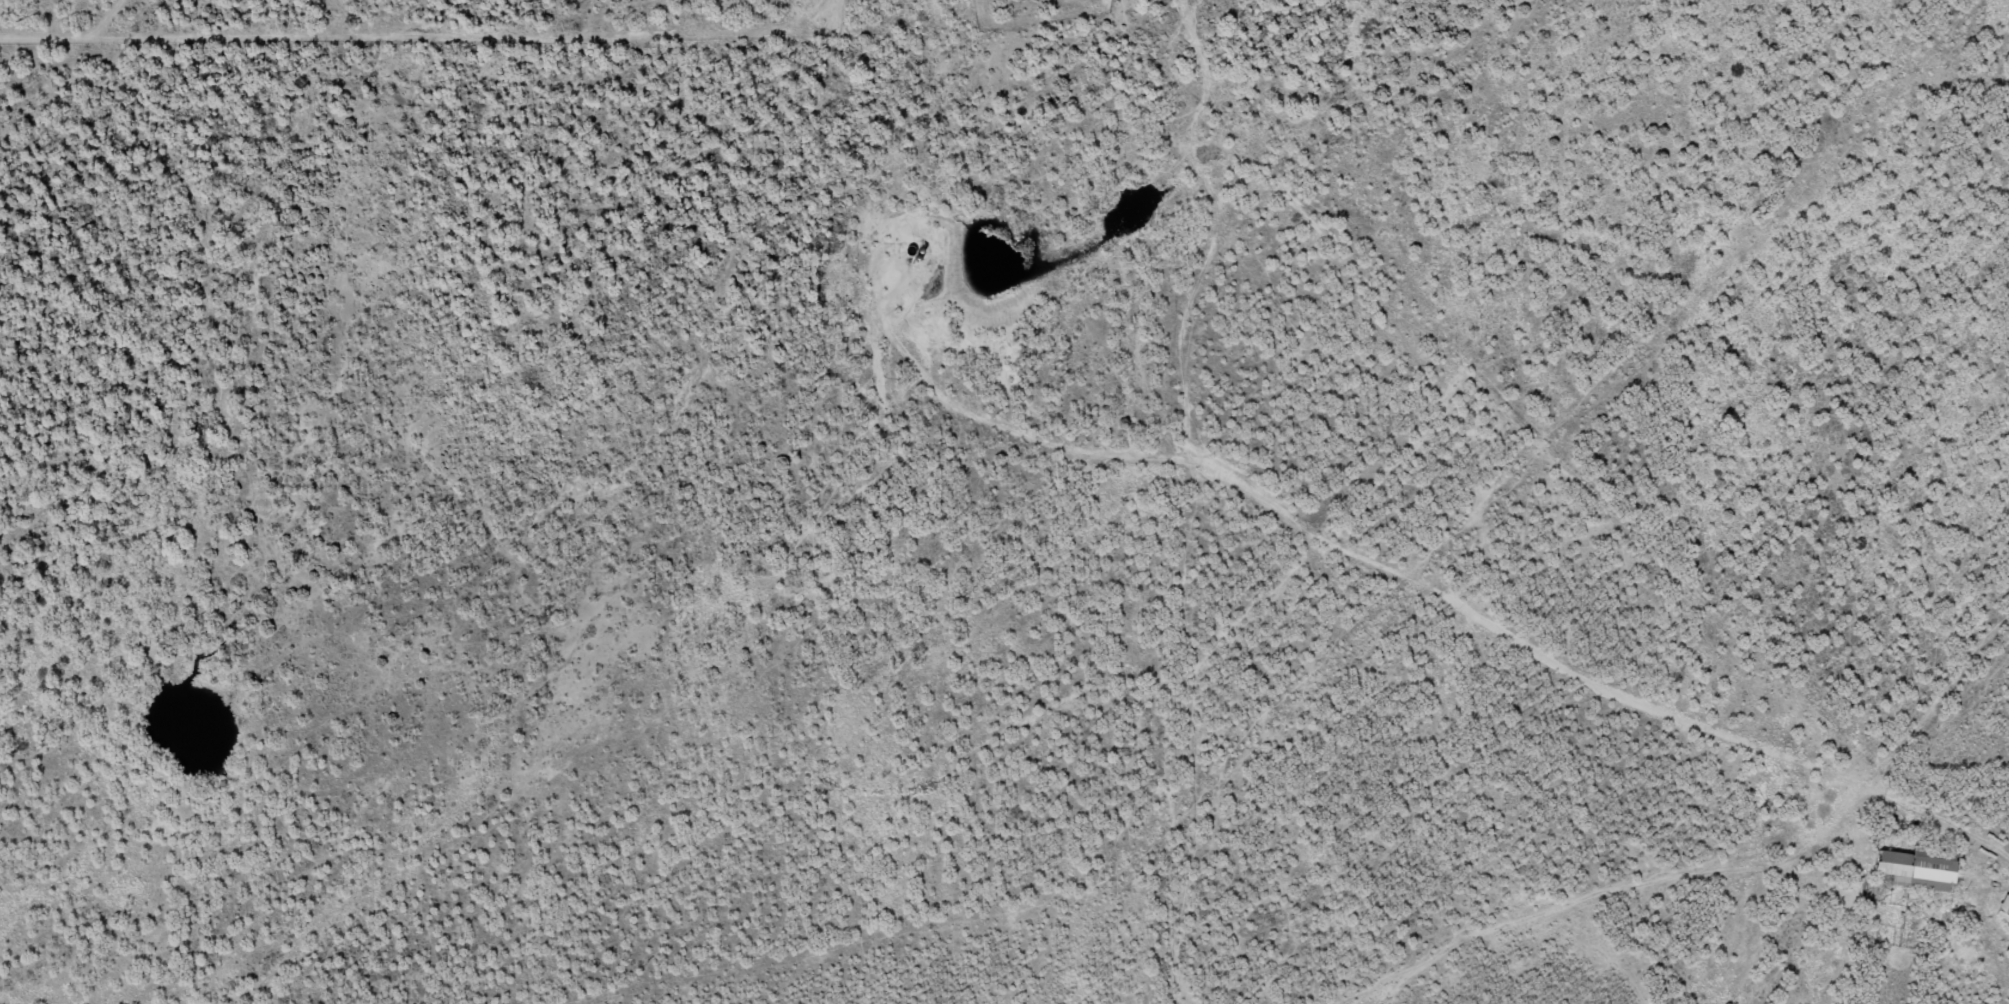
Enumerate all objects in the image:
road: (211, 300)
road: (1590, 427)
road: (1573, 864)
building: (1921, 868)
building: (2004, 909)
road: (1546, 946)

